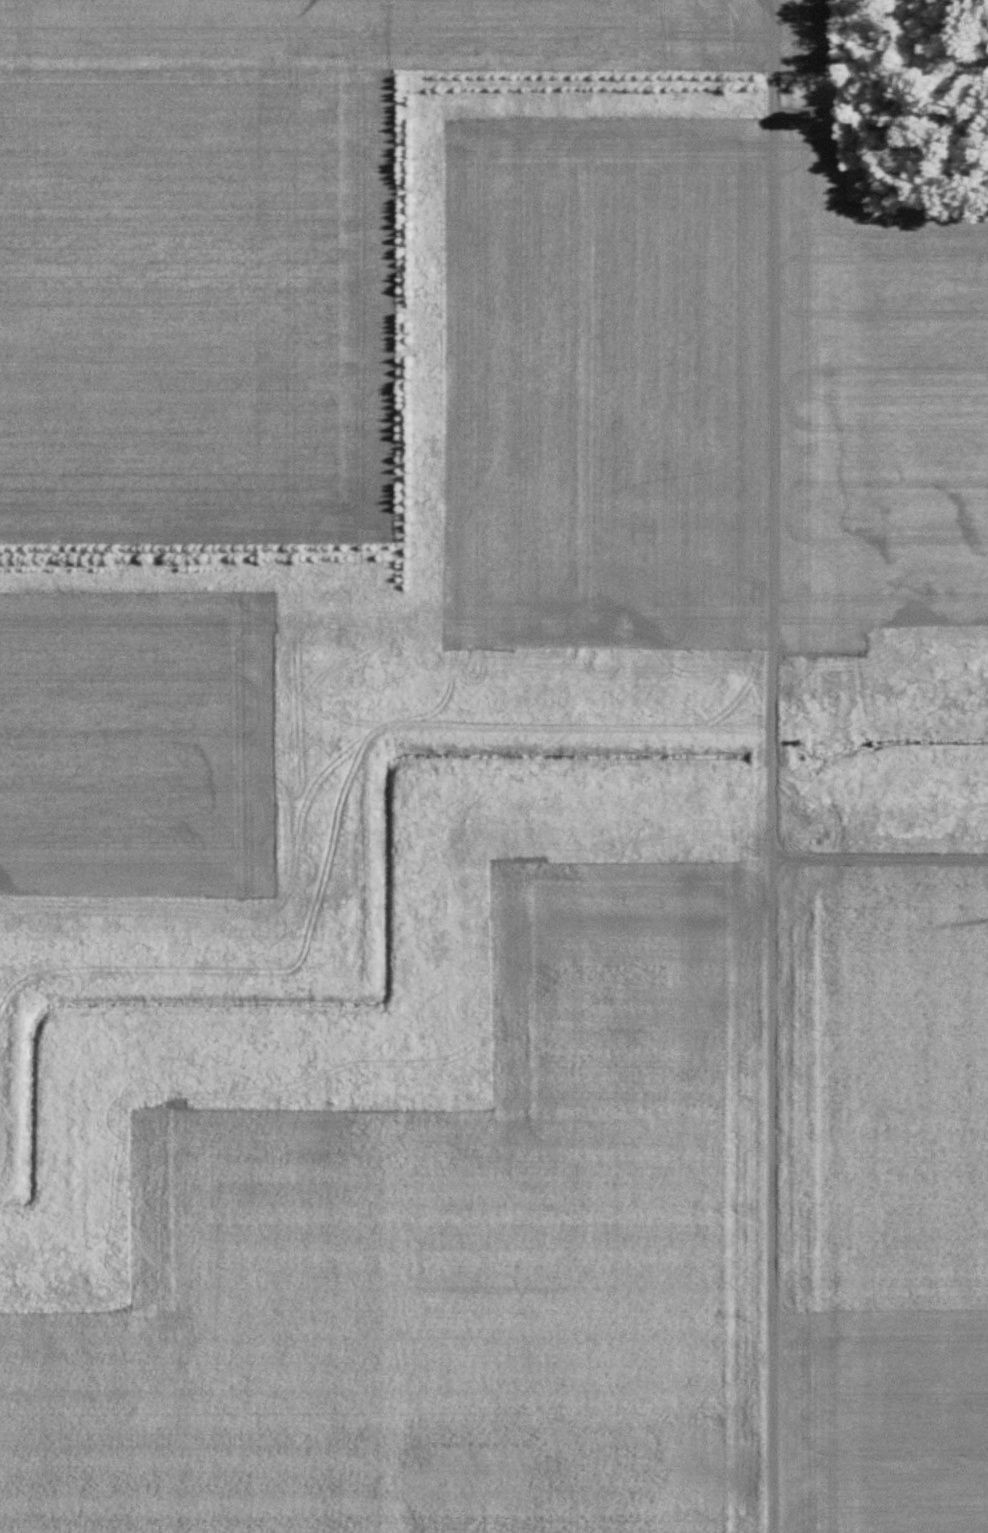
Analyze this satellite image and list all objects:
road: (753, 781)
road: (870, 865)

